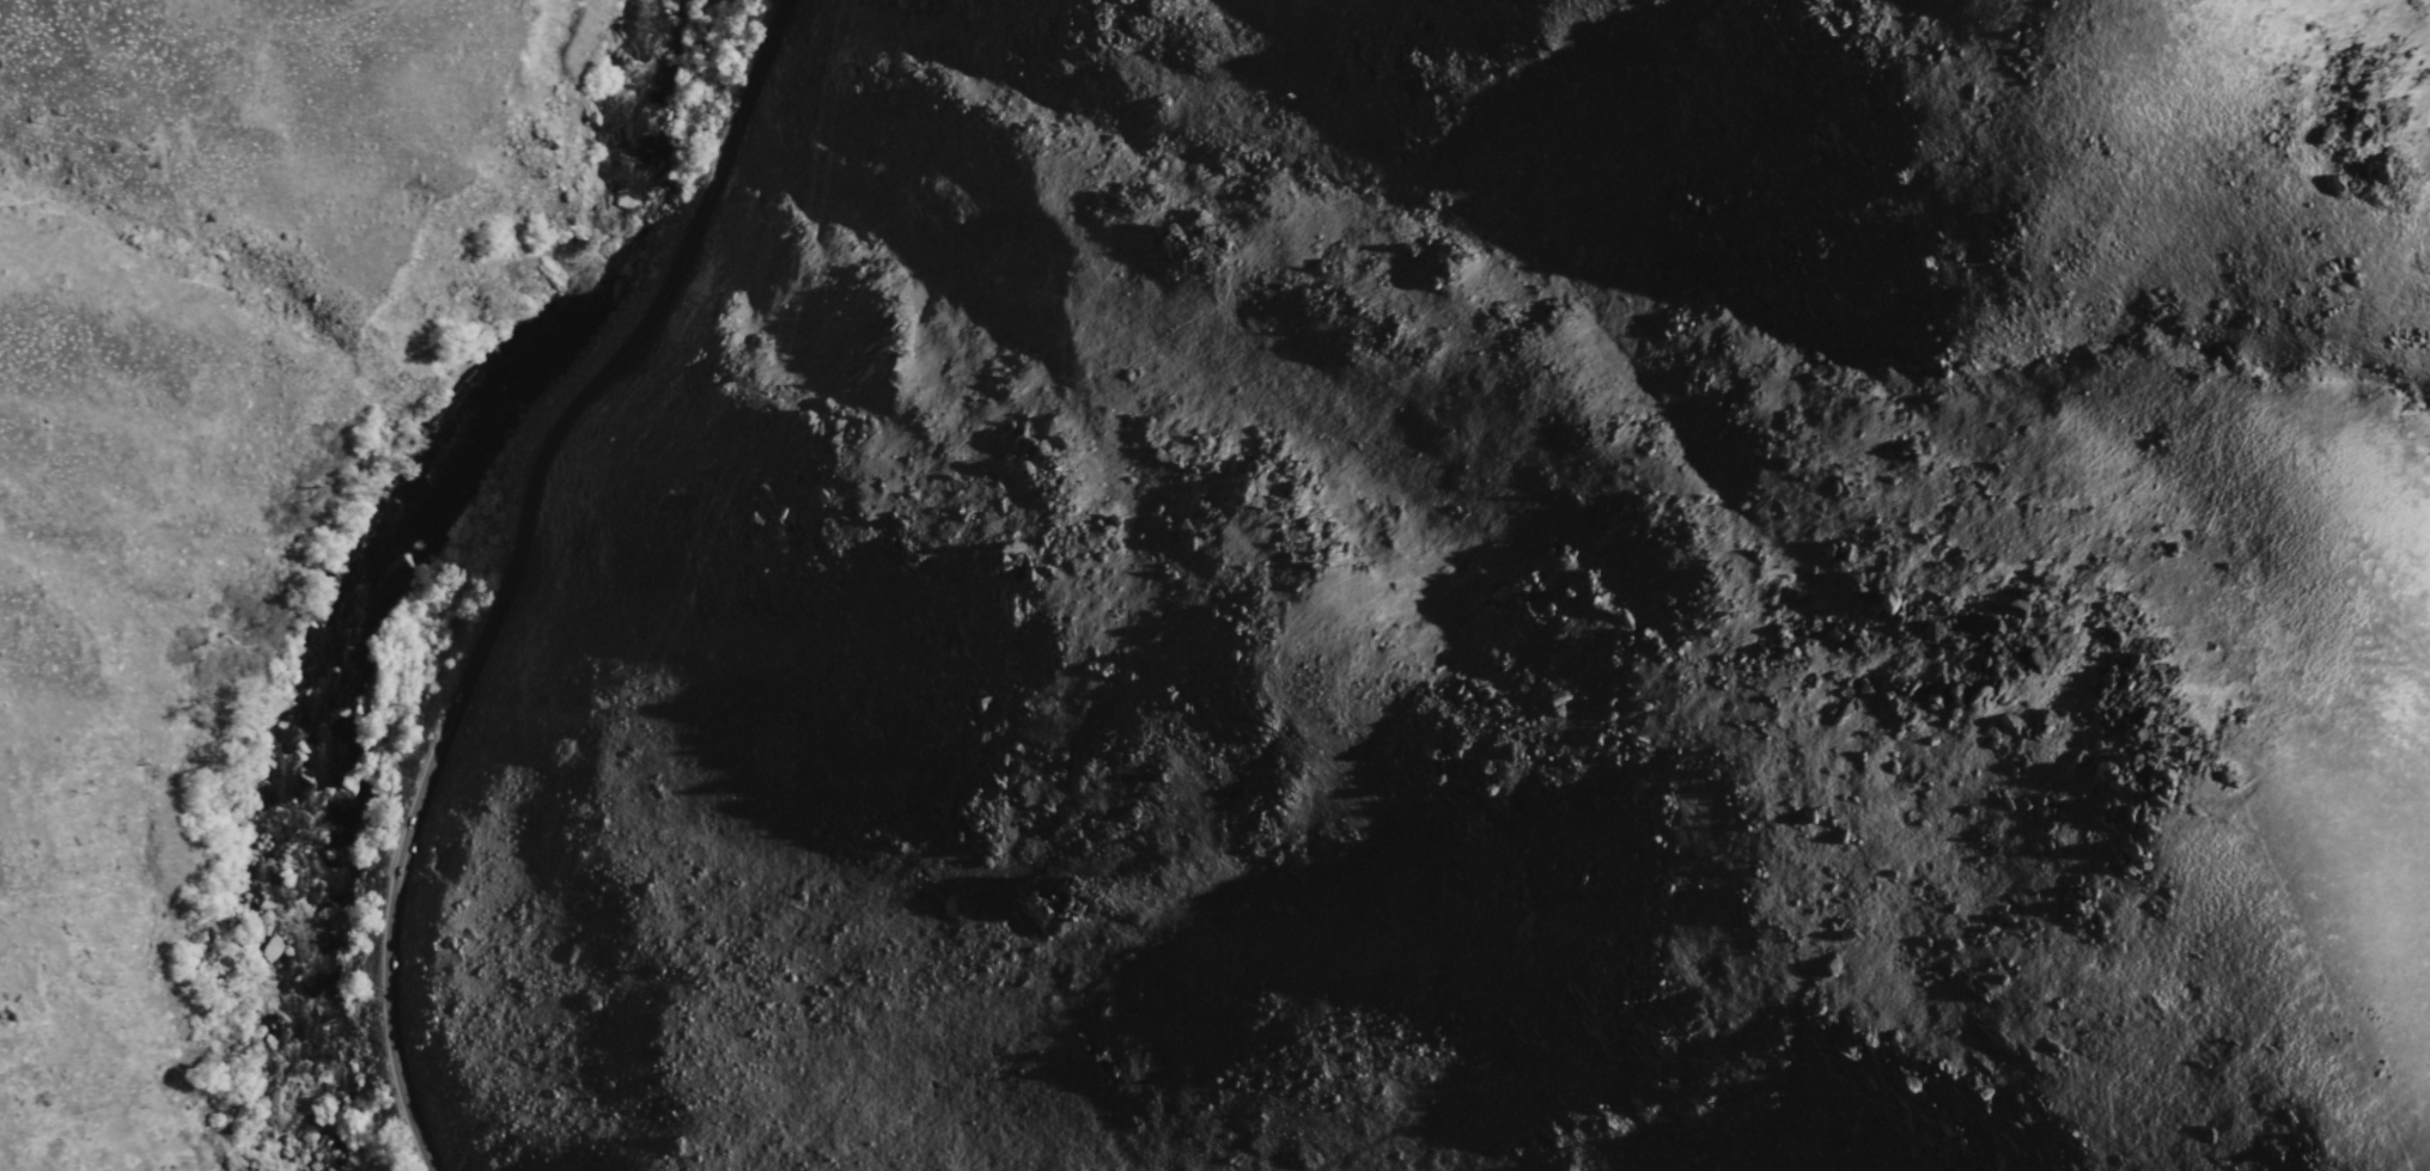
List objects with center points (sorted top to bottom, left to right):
river: (384, 556)
road: (505, 565)

